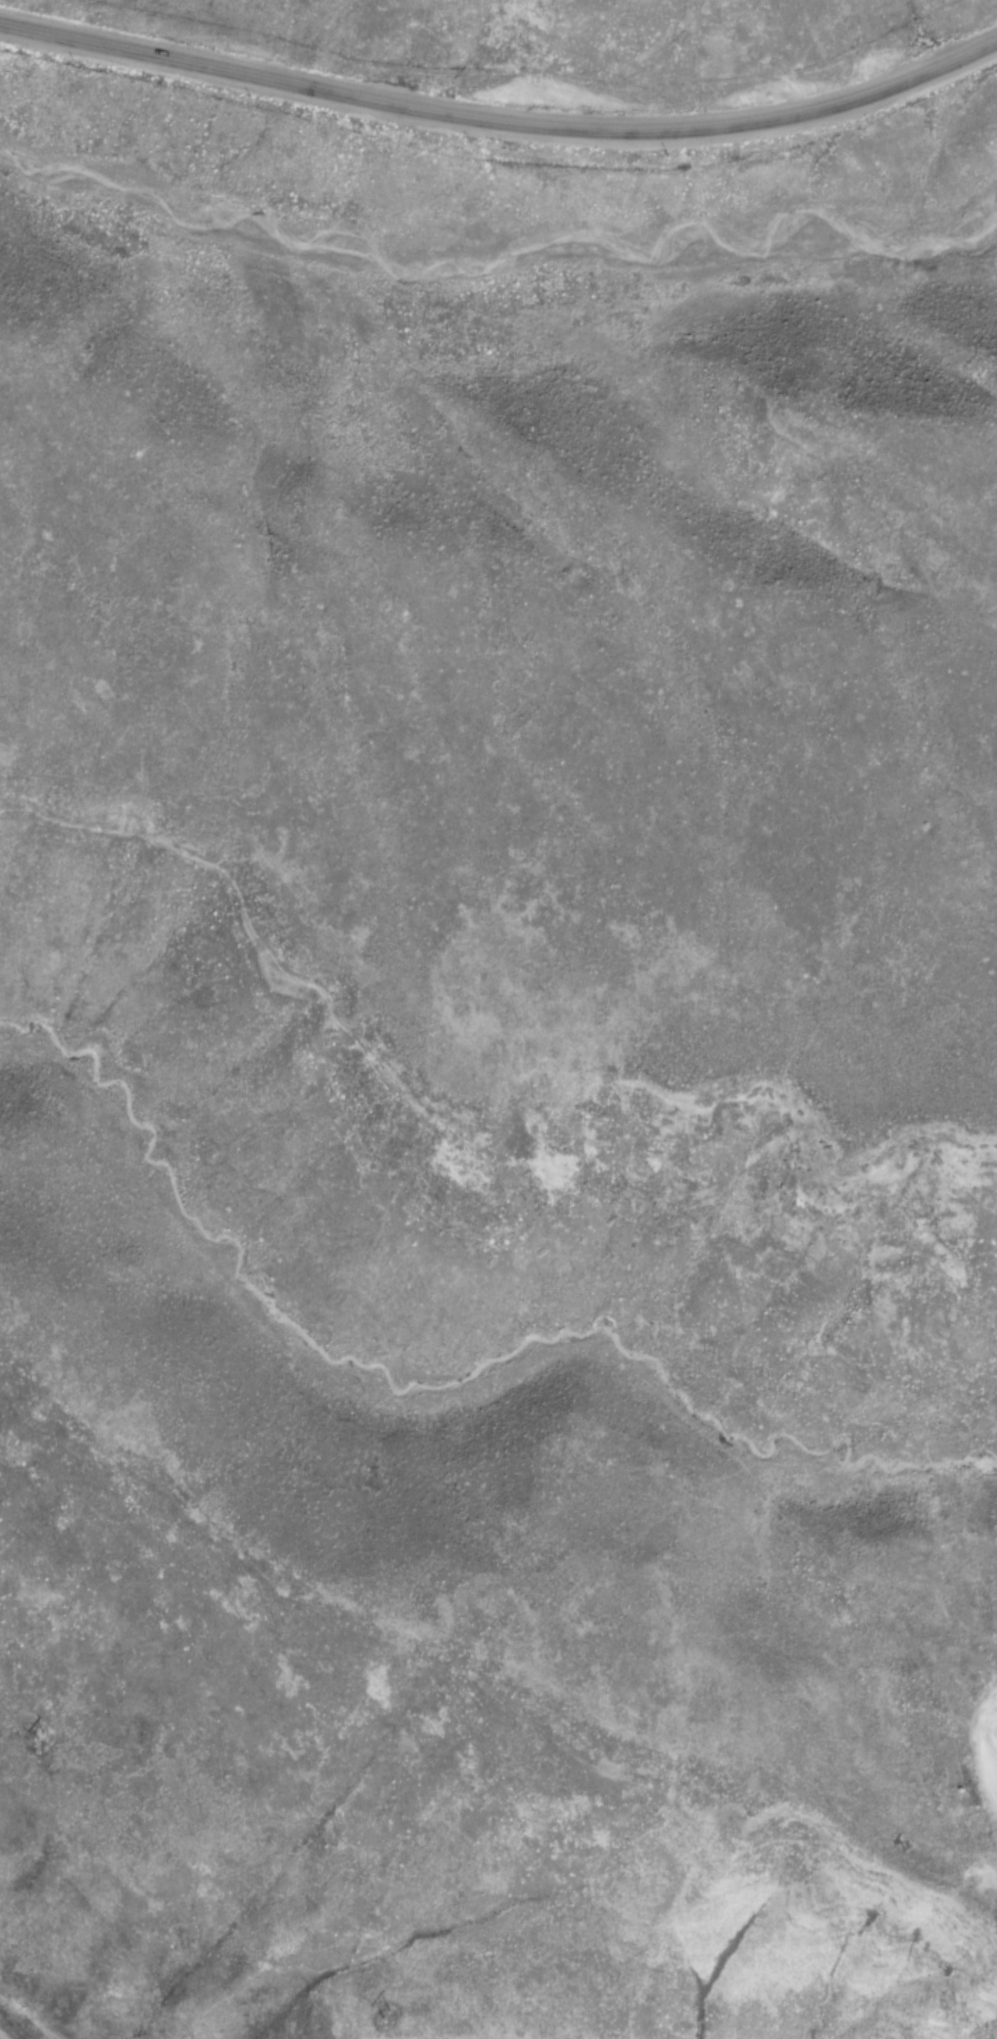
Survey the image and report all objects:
road: (500, 123)

